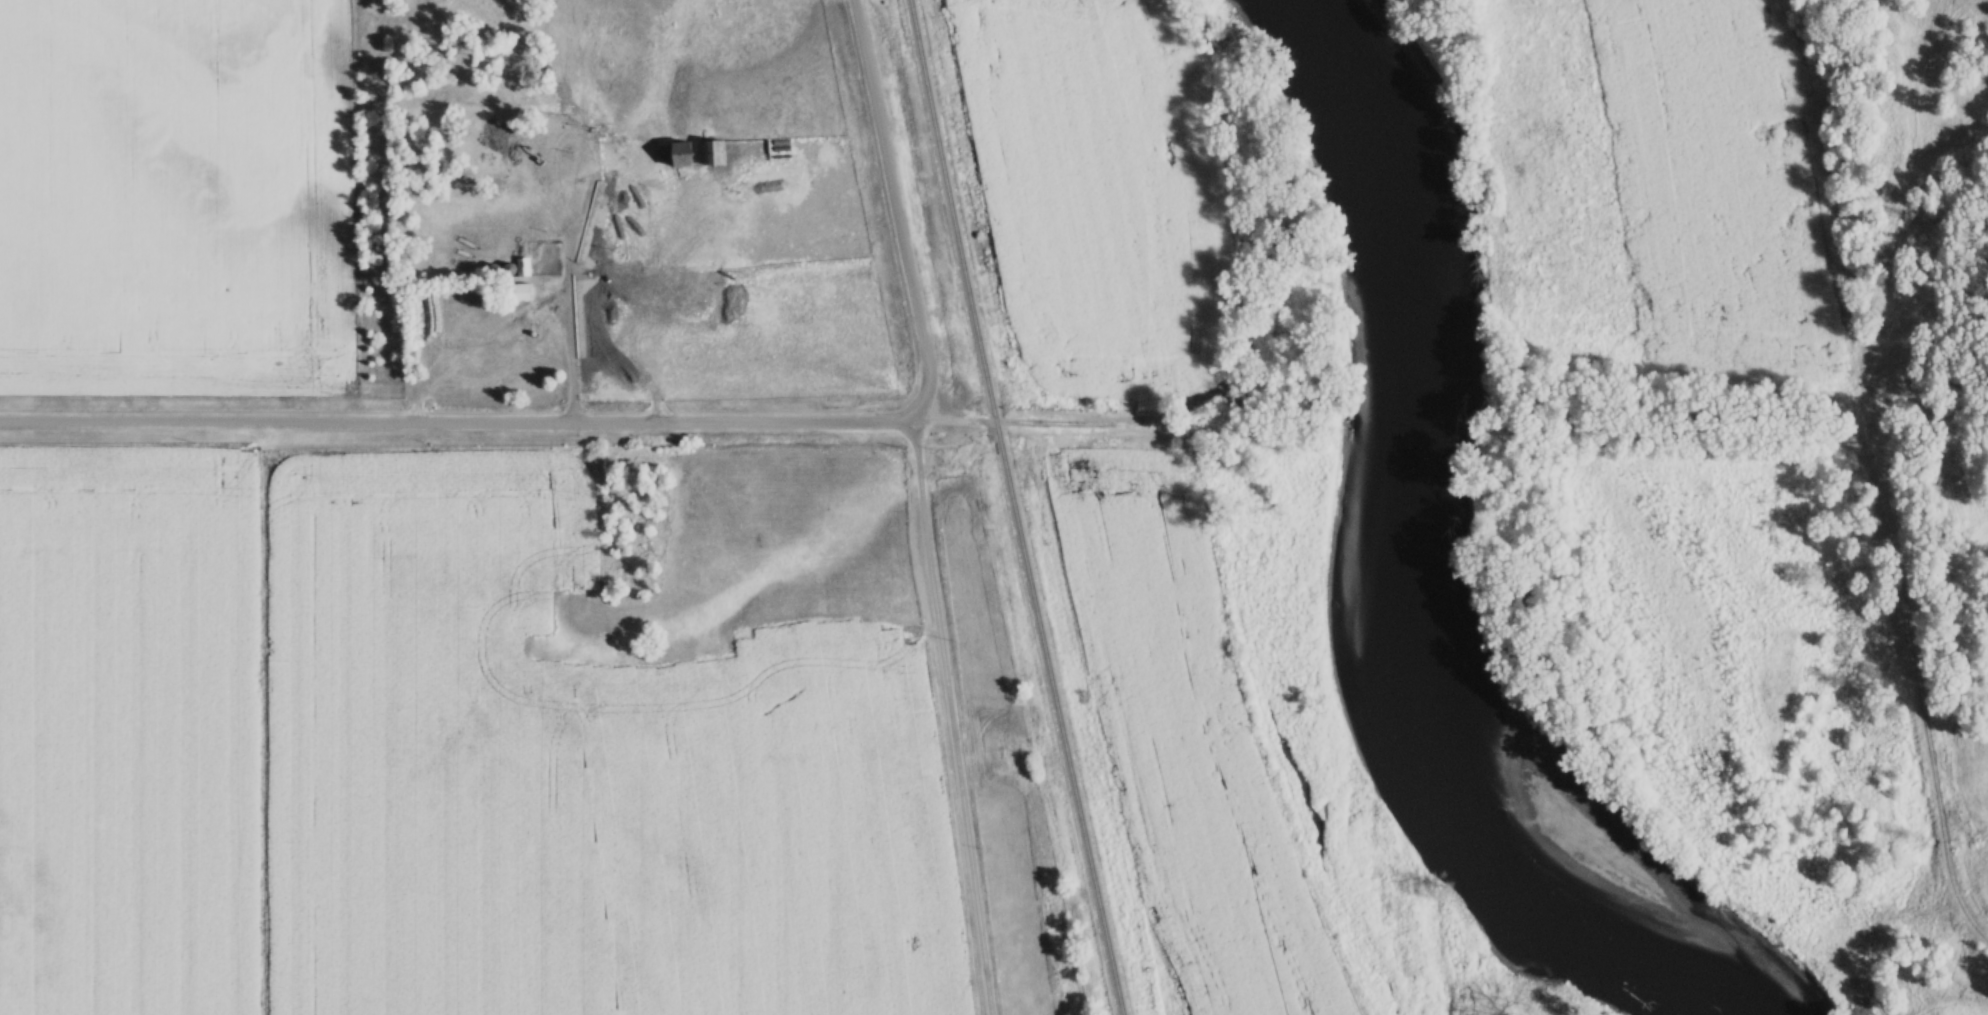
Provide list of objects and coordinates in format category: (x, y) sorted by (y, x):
building: (714, 152)
building: (678, 155)
road: (896, 207)
building: (523, 268)
road: (569, 269)
building: (525, 293)
road: (1042, 422)
road: (457, 424)
railway: (1014, 508)
river: (1400, 567)
road: (1925, 705)
road: (949, 713)

